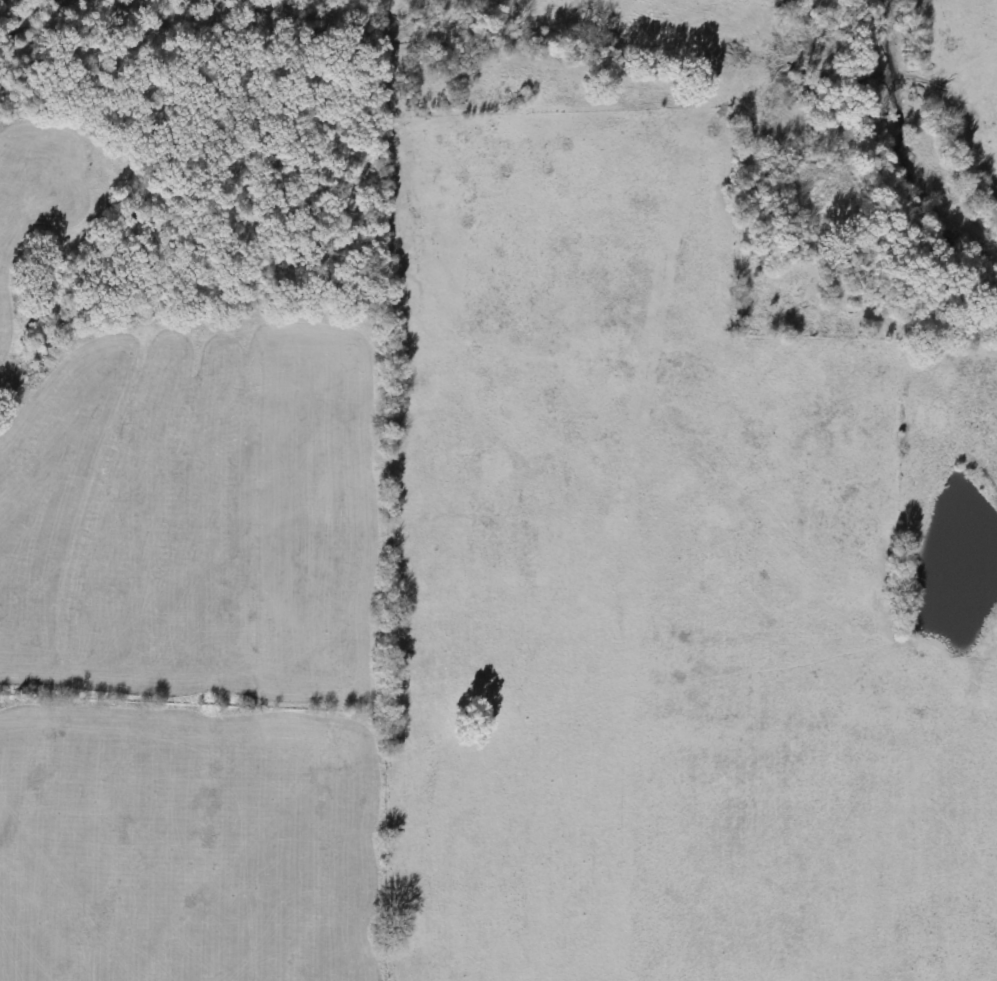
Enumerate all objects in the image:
road: (463, 376)

